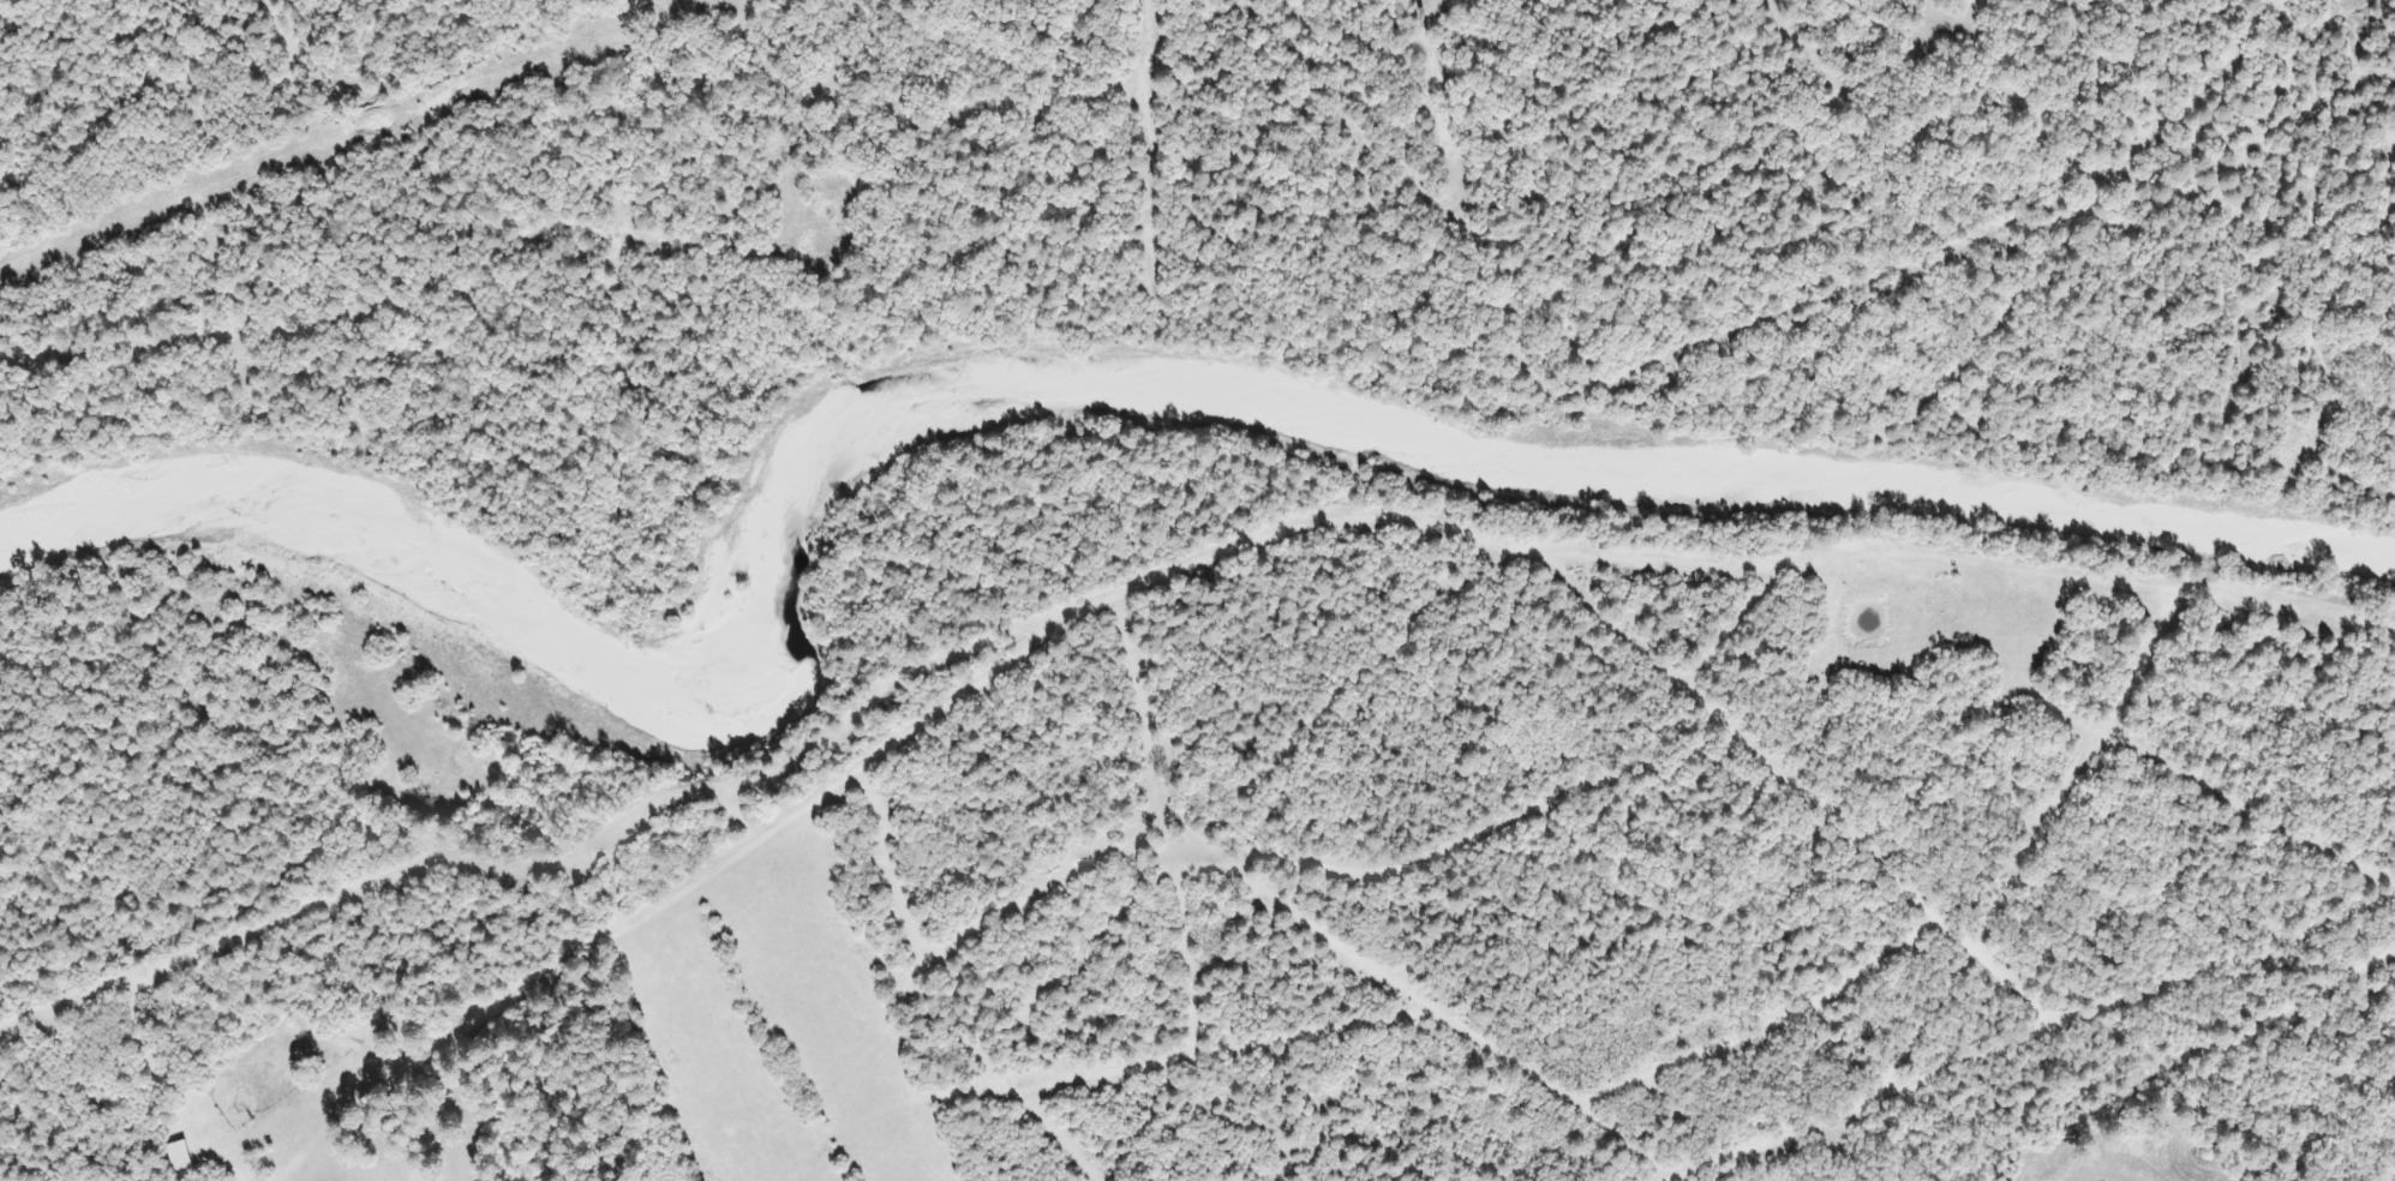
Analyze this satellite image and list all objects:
road: (1996, 877)
building: (181, 1155)
road: (295, 1169)

